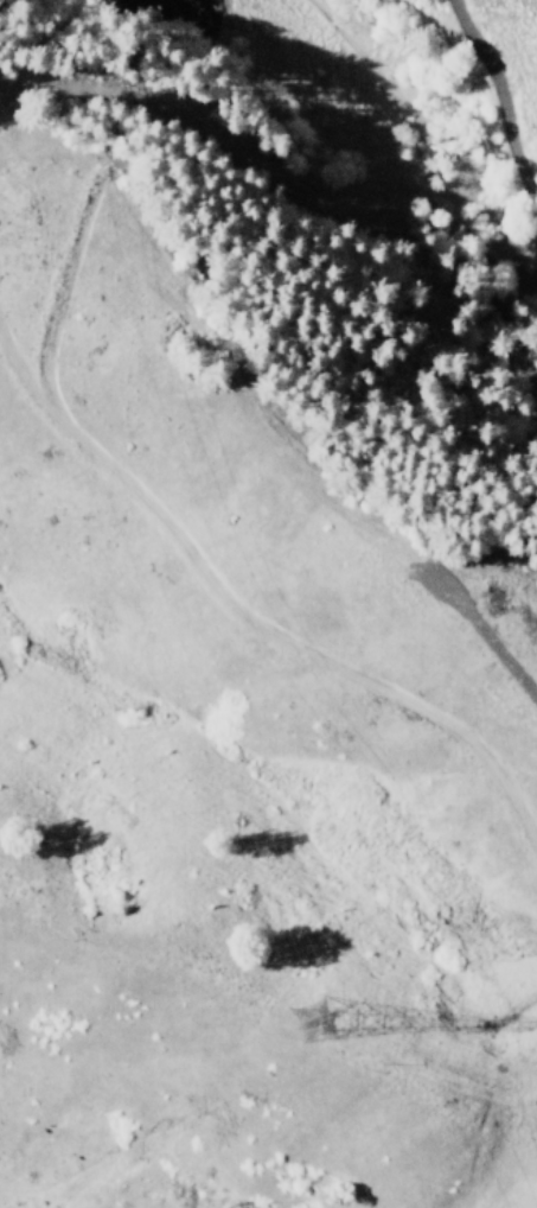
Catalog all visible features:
road: (529, 136)
power tower: (307, 1021)

